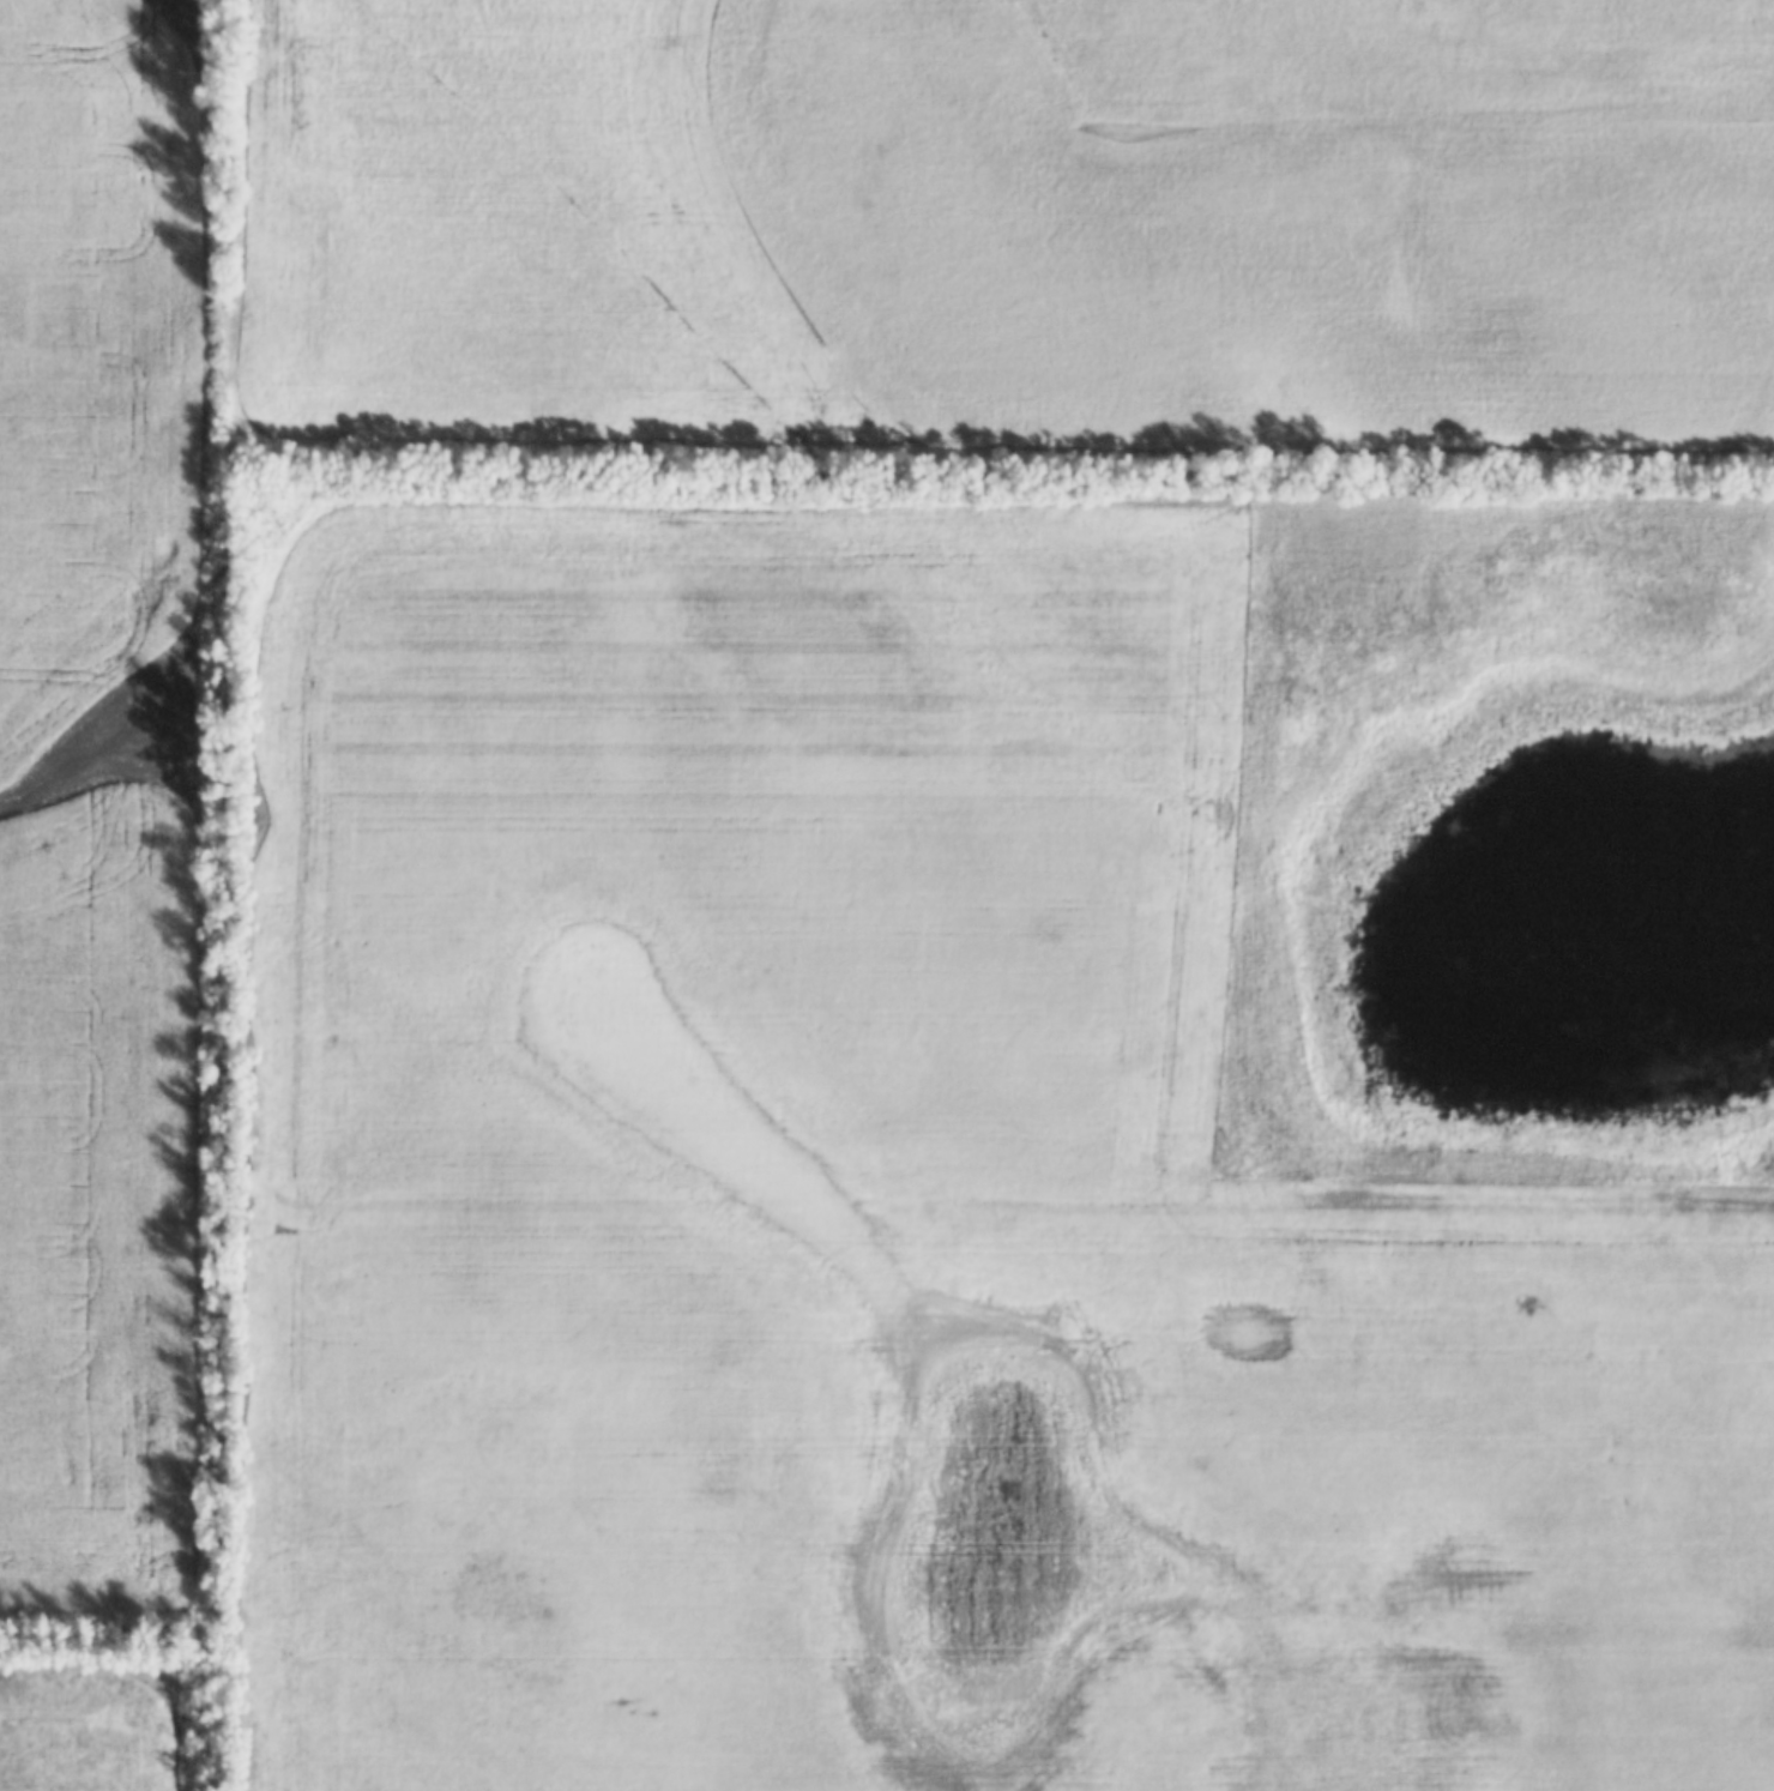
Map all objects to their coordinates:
building: (1153, 1604)

